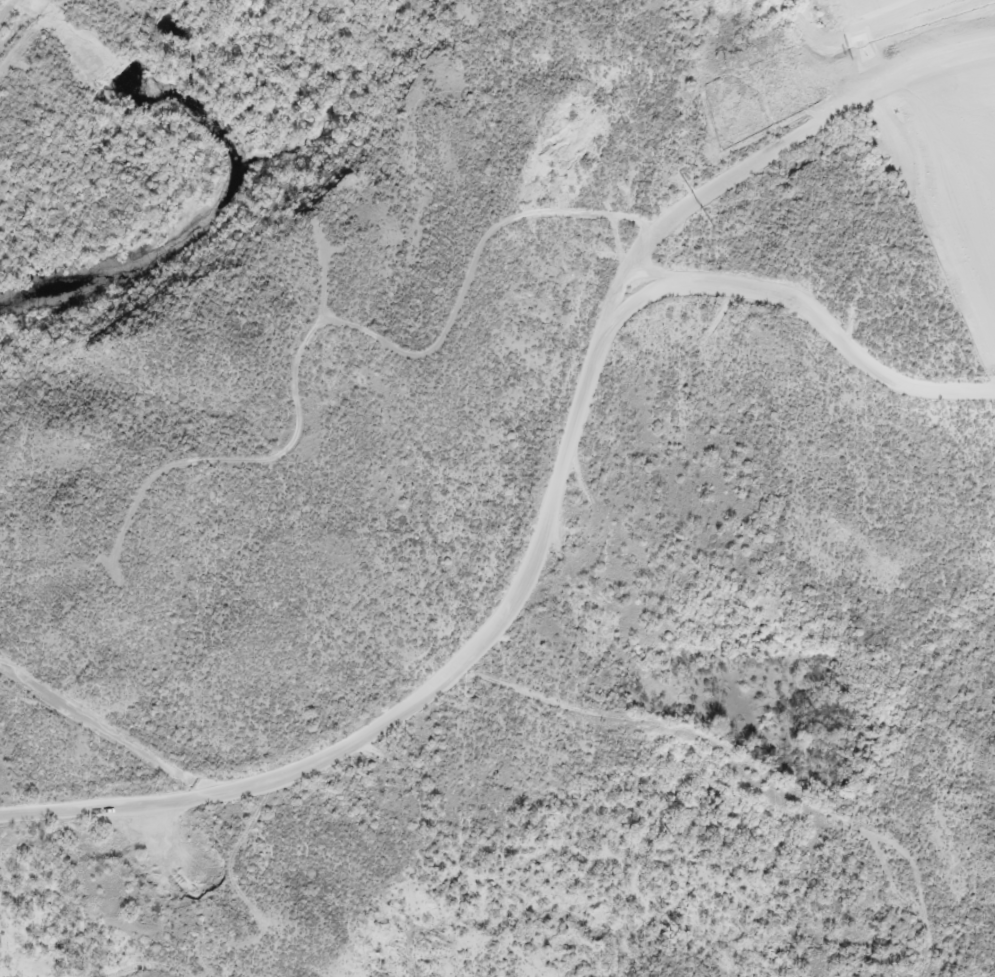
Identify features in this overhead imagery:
road: (774, 141)
road: (666, 266)
road: (526, 549)
road: (99, 797)

